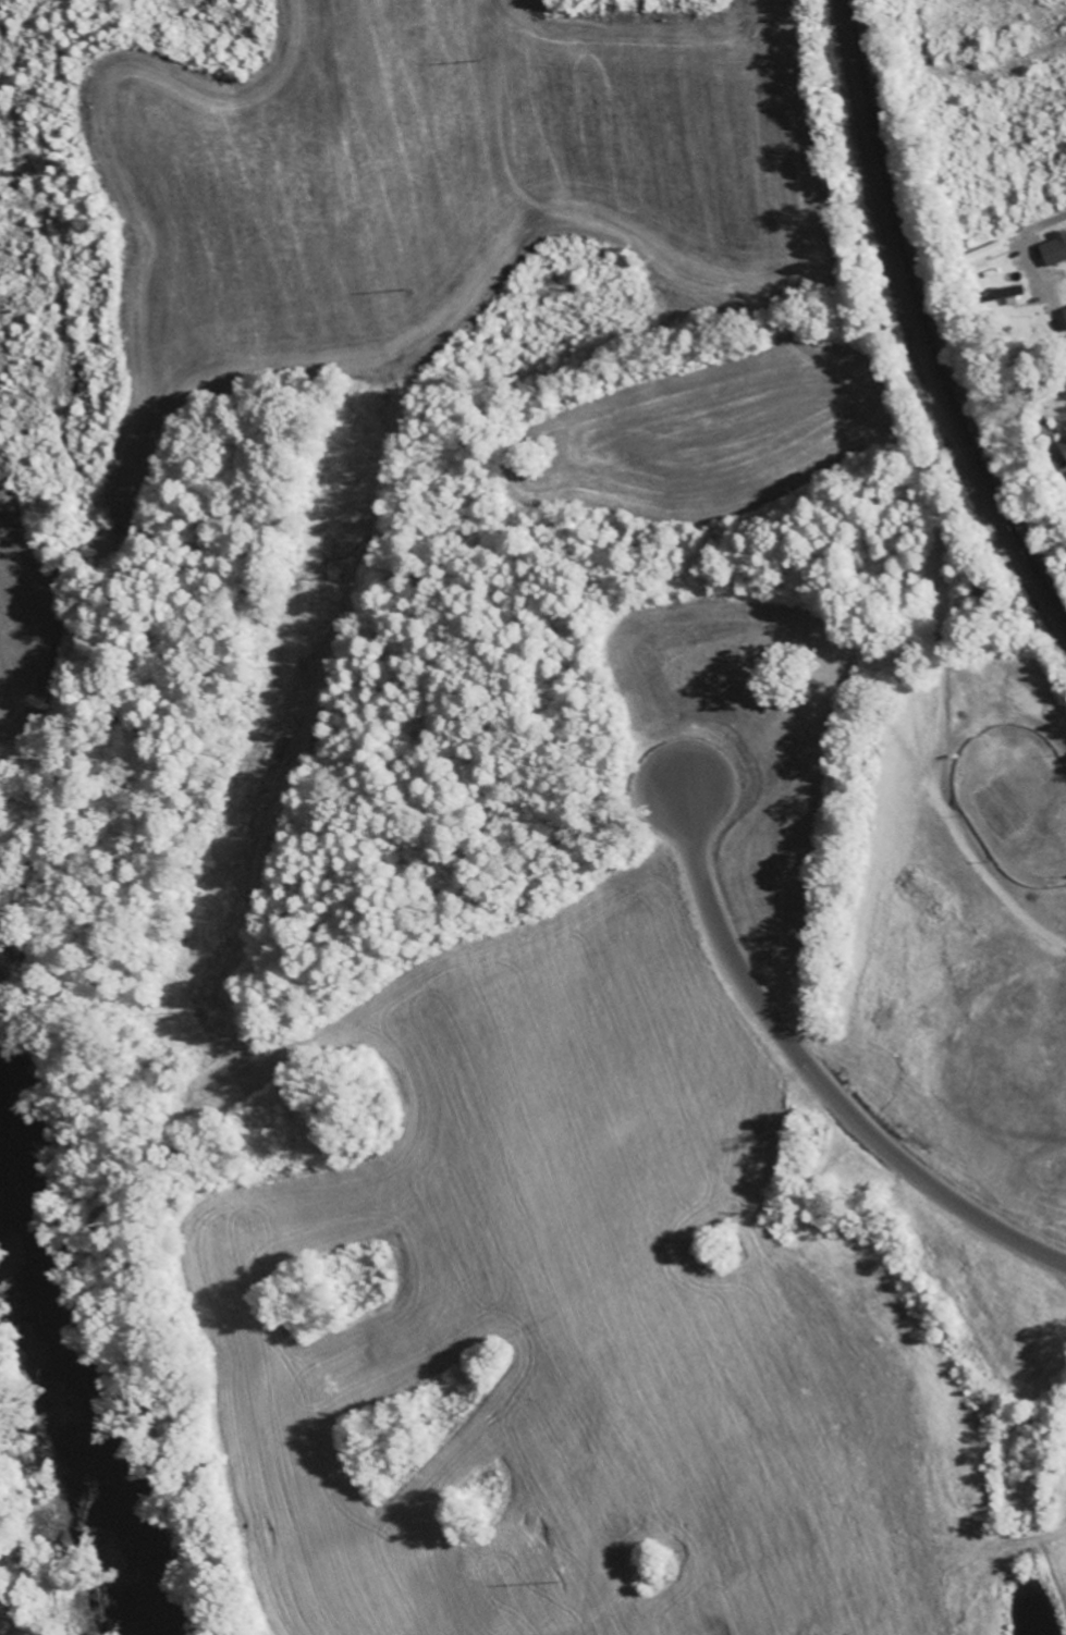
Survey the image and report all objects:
building: (1052, 247)
road: (1026, 250)
building: (996, 293)
building: (1063, 316)
railway: (916, 332)
building: (1062, 448)
road: (810, 1075)
river: (68, 1411)

